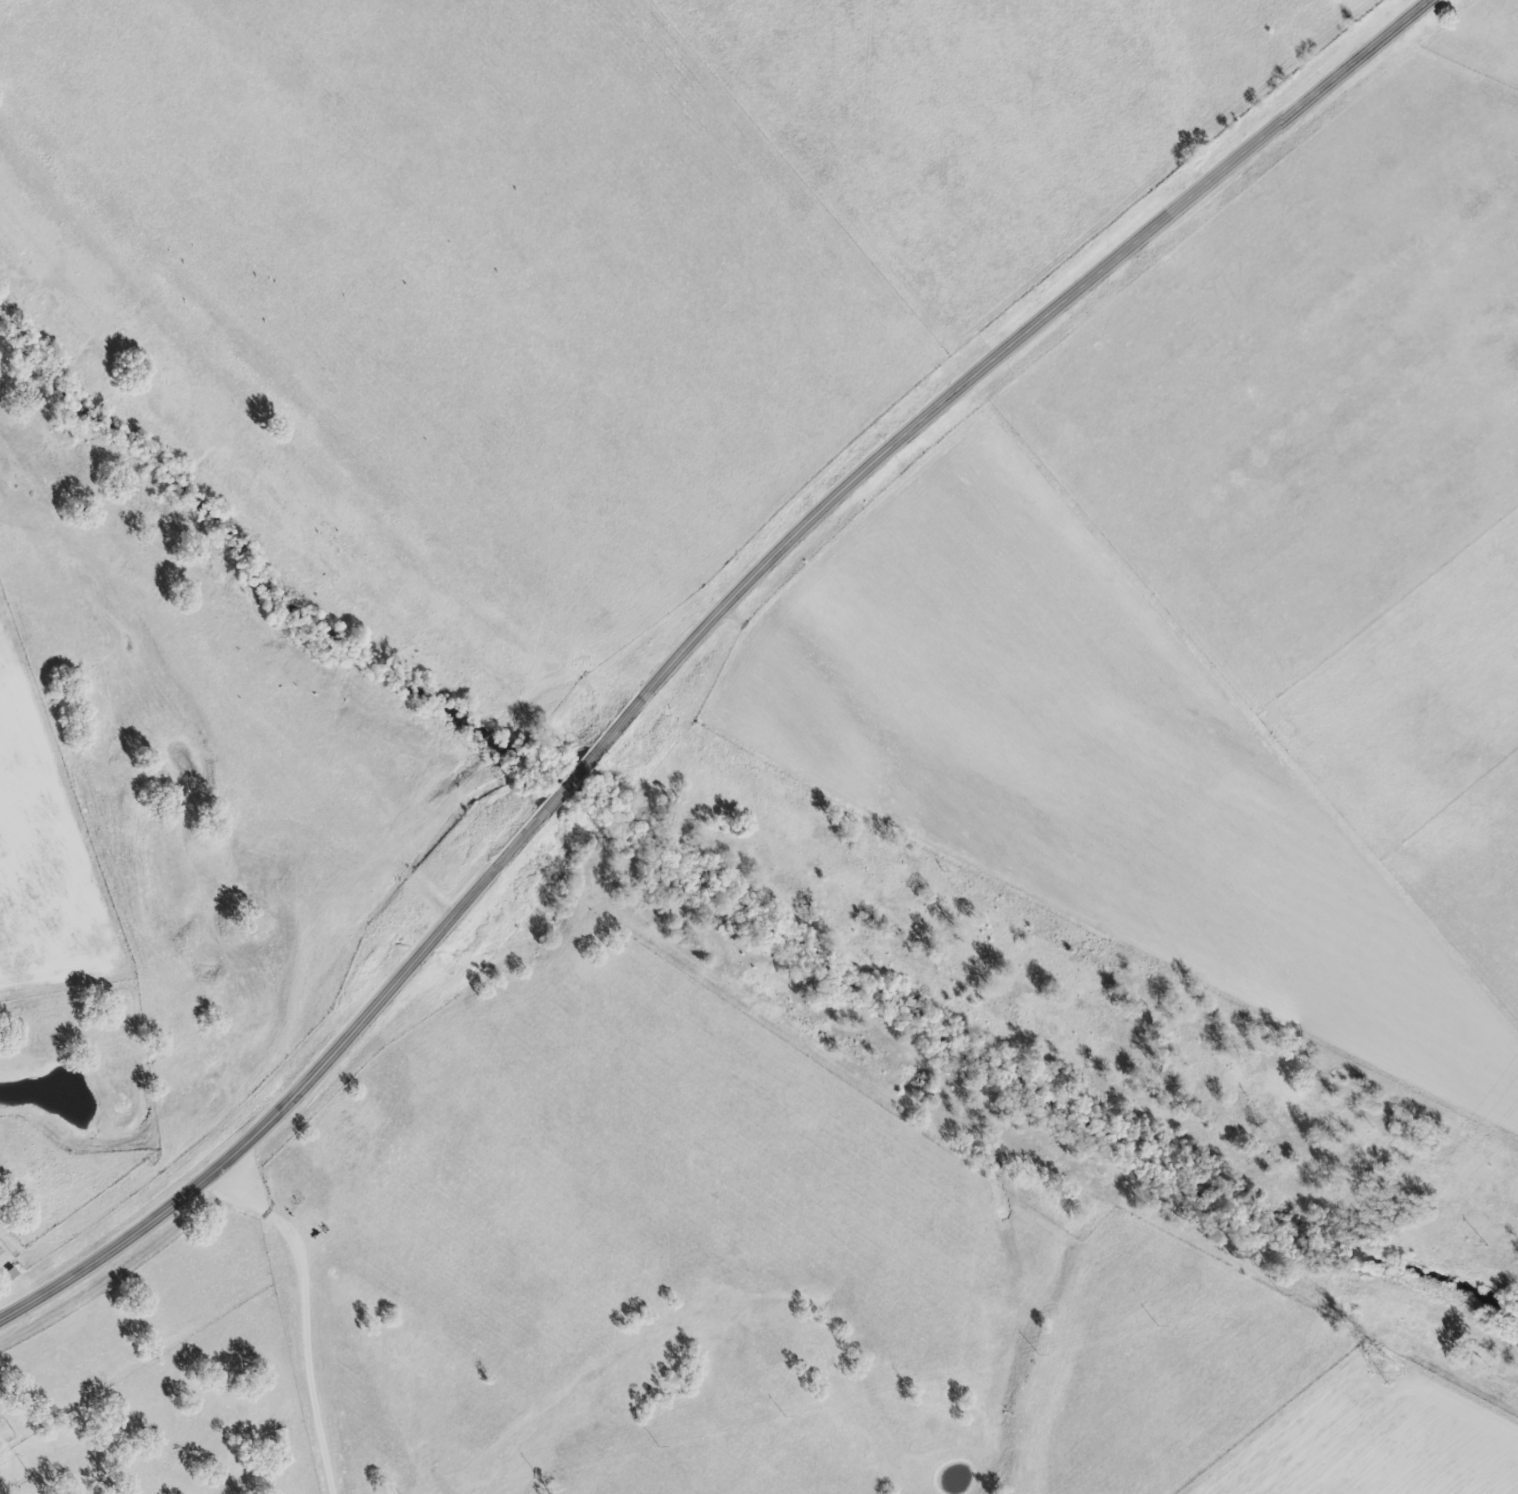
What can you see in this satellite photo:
road: (997, 360)
river: (249, 560)
road: (566, 785)
river: (1008, 1066)
road: (293, 1095)
road: (305, 1315)
power tower: (1383, 1373)

